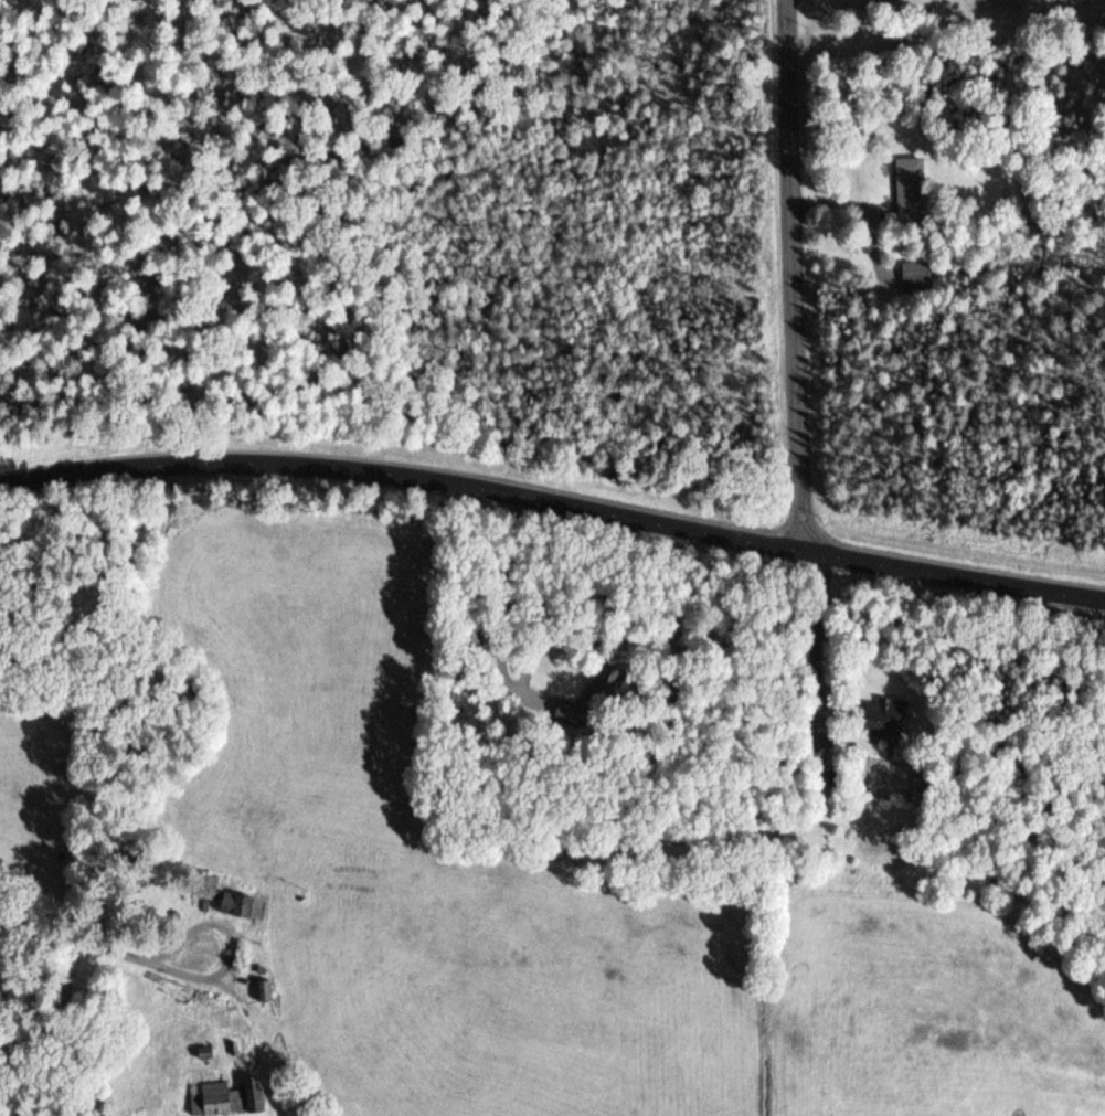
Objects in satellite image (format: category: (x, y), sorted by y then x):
building: (911, 180)
road: (791, 273)
road: (553, 499)
building: (208, 886)
building: (243, 904)
road: (73, 935)

